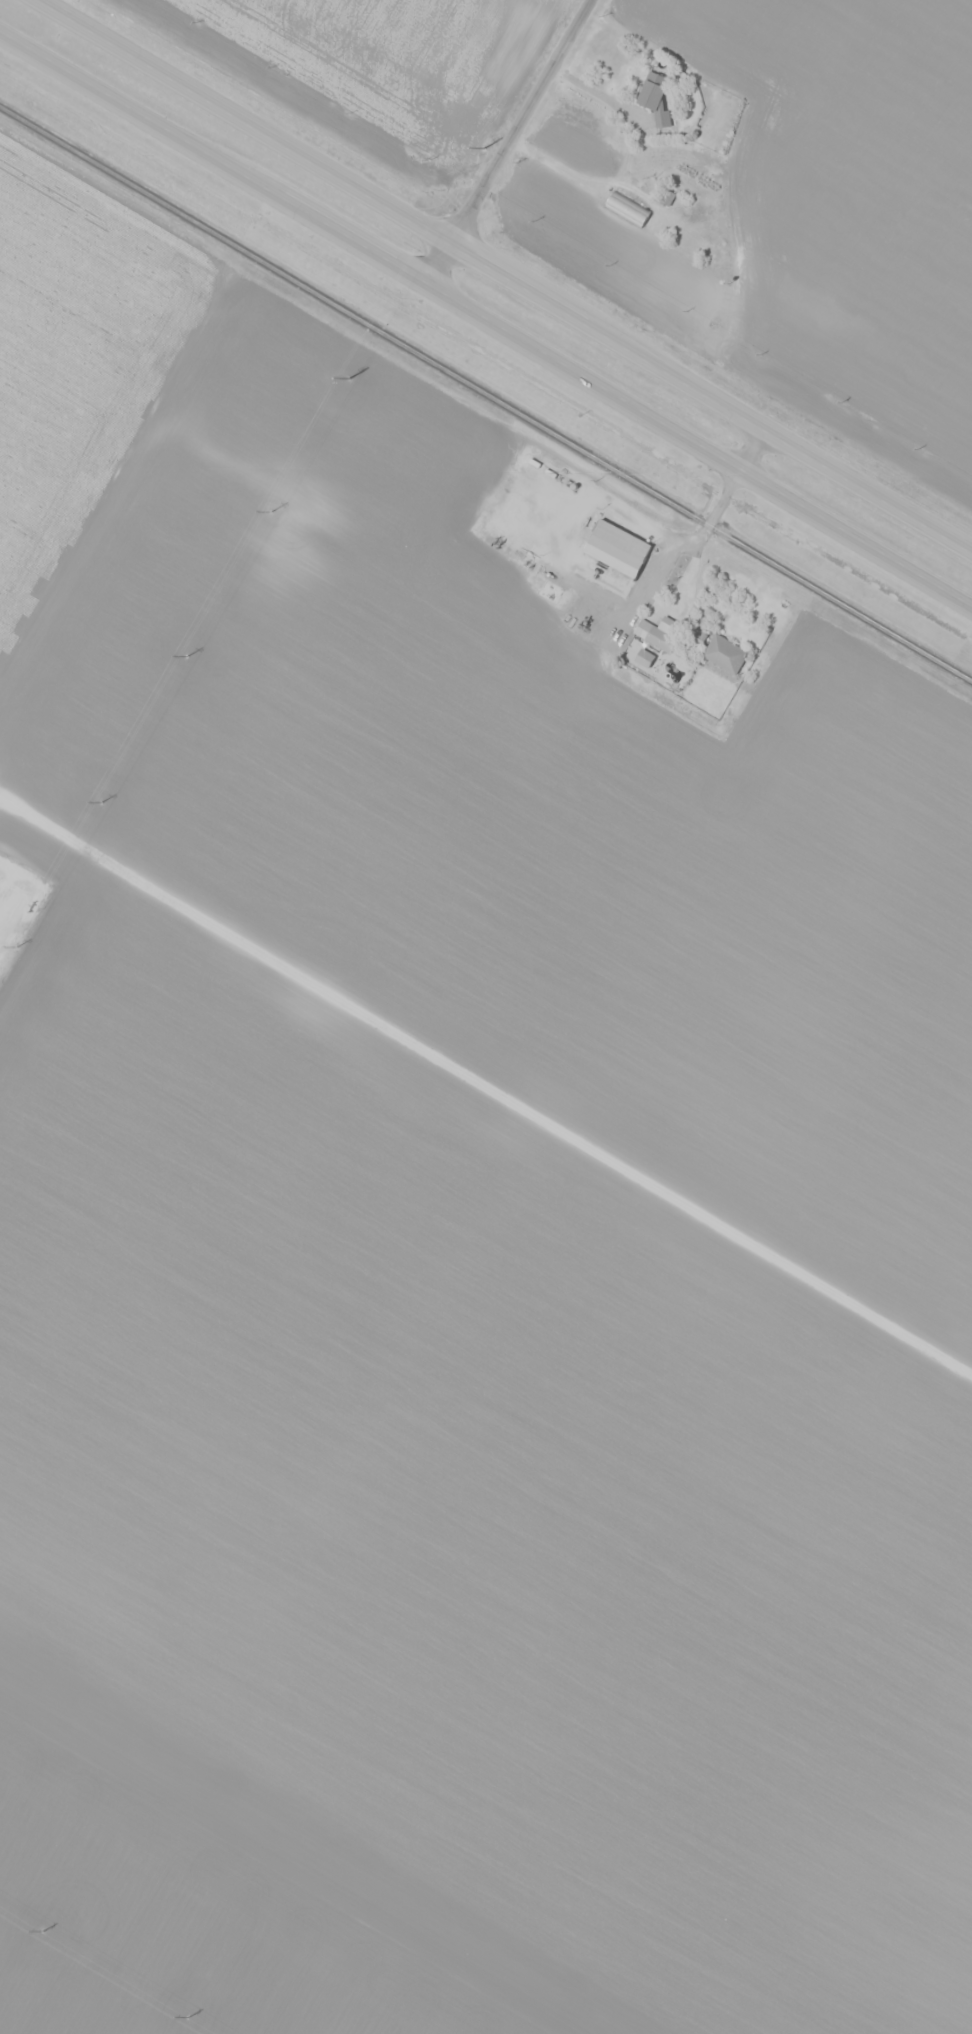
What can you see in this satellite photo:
building: (648, 97)
road: (506, 139)
building: (627, 209)
road: (525, 259)
road: (486, 317)
railway: (486, 393)
road: (759, 441)
building: (612, 558)
building: (553, 587)
building: (660, 633)
building: (720, 655)
road: (484, 1090)

